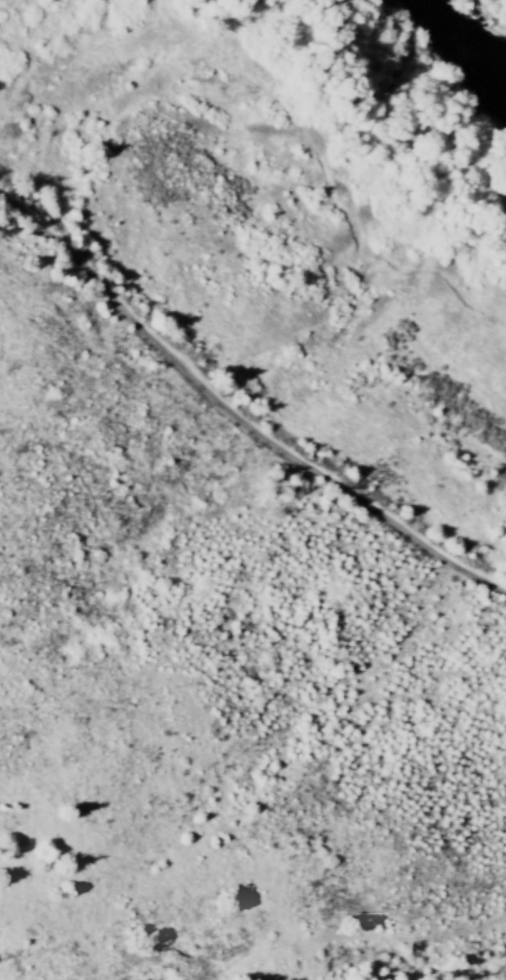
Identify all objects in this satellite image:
river: (459, 43)
road: (238, 423)

